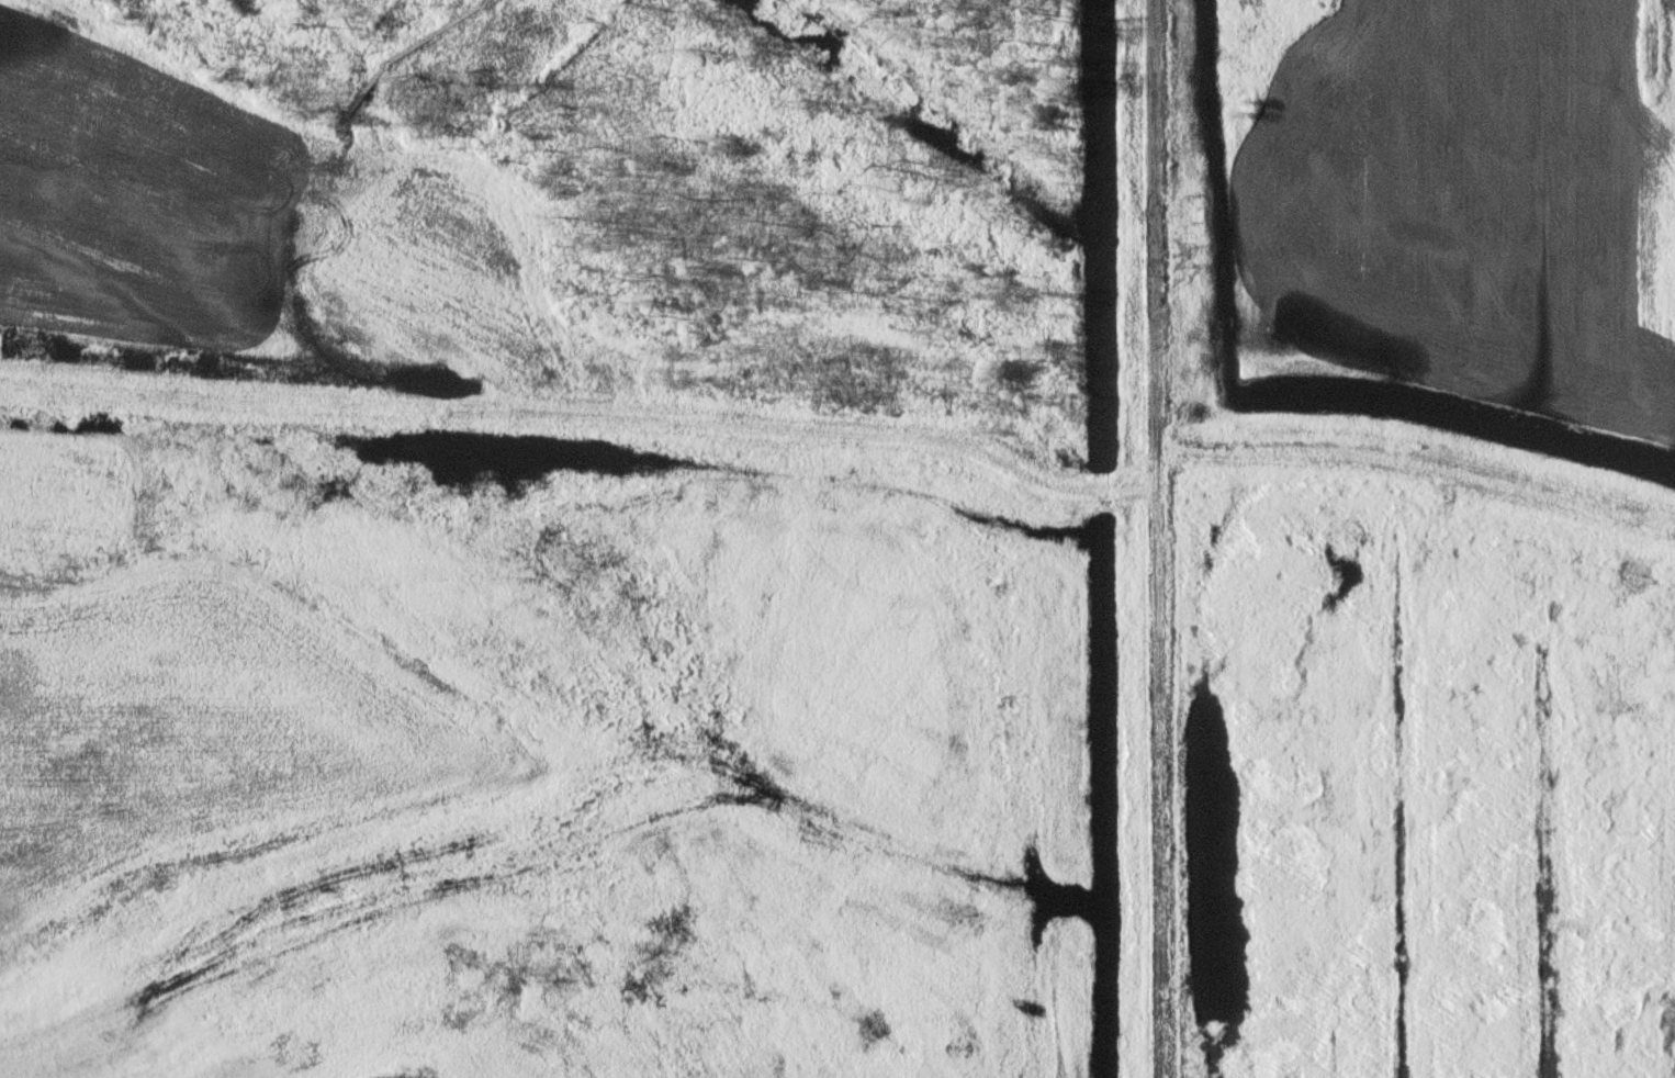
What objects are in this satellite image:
road: (1157, 538)

